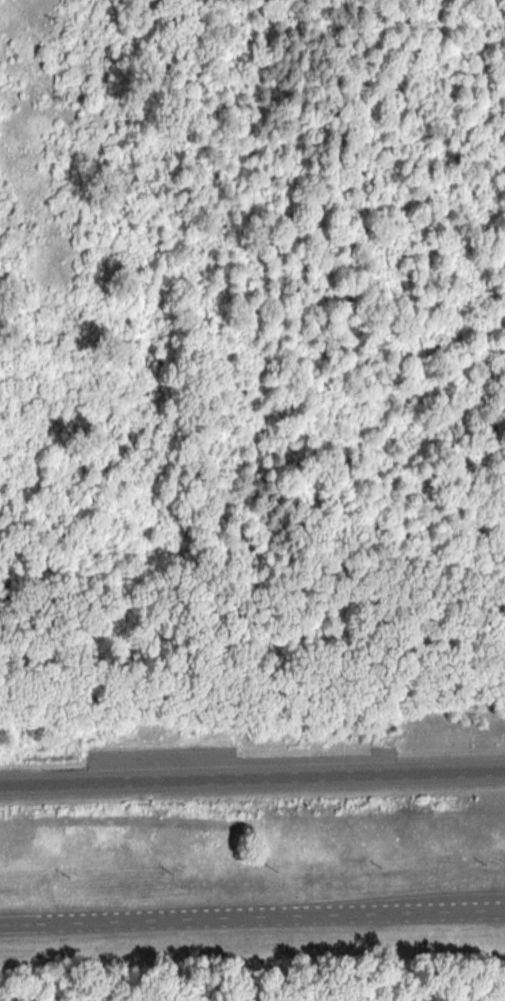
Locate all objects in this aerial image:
road: (252, 781)
road: (252, 917)

